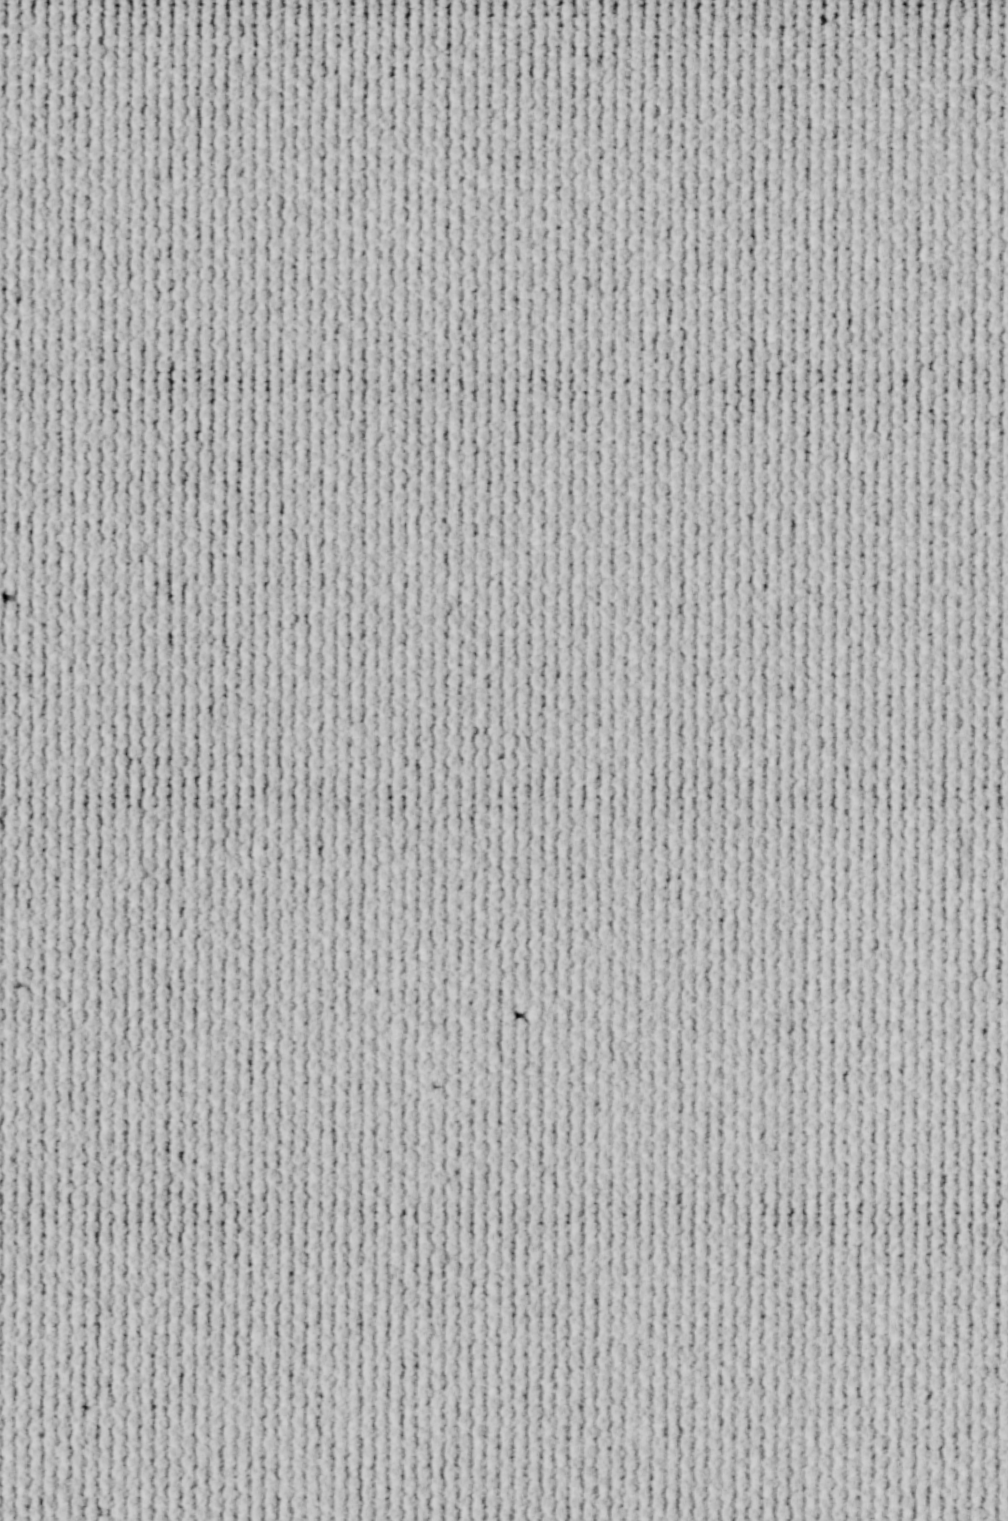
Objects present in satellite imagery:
crop: (504, 760)

